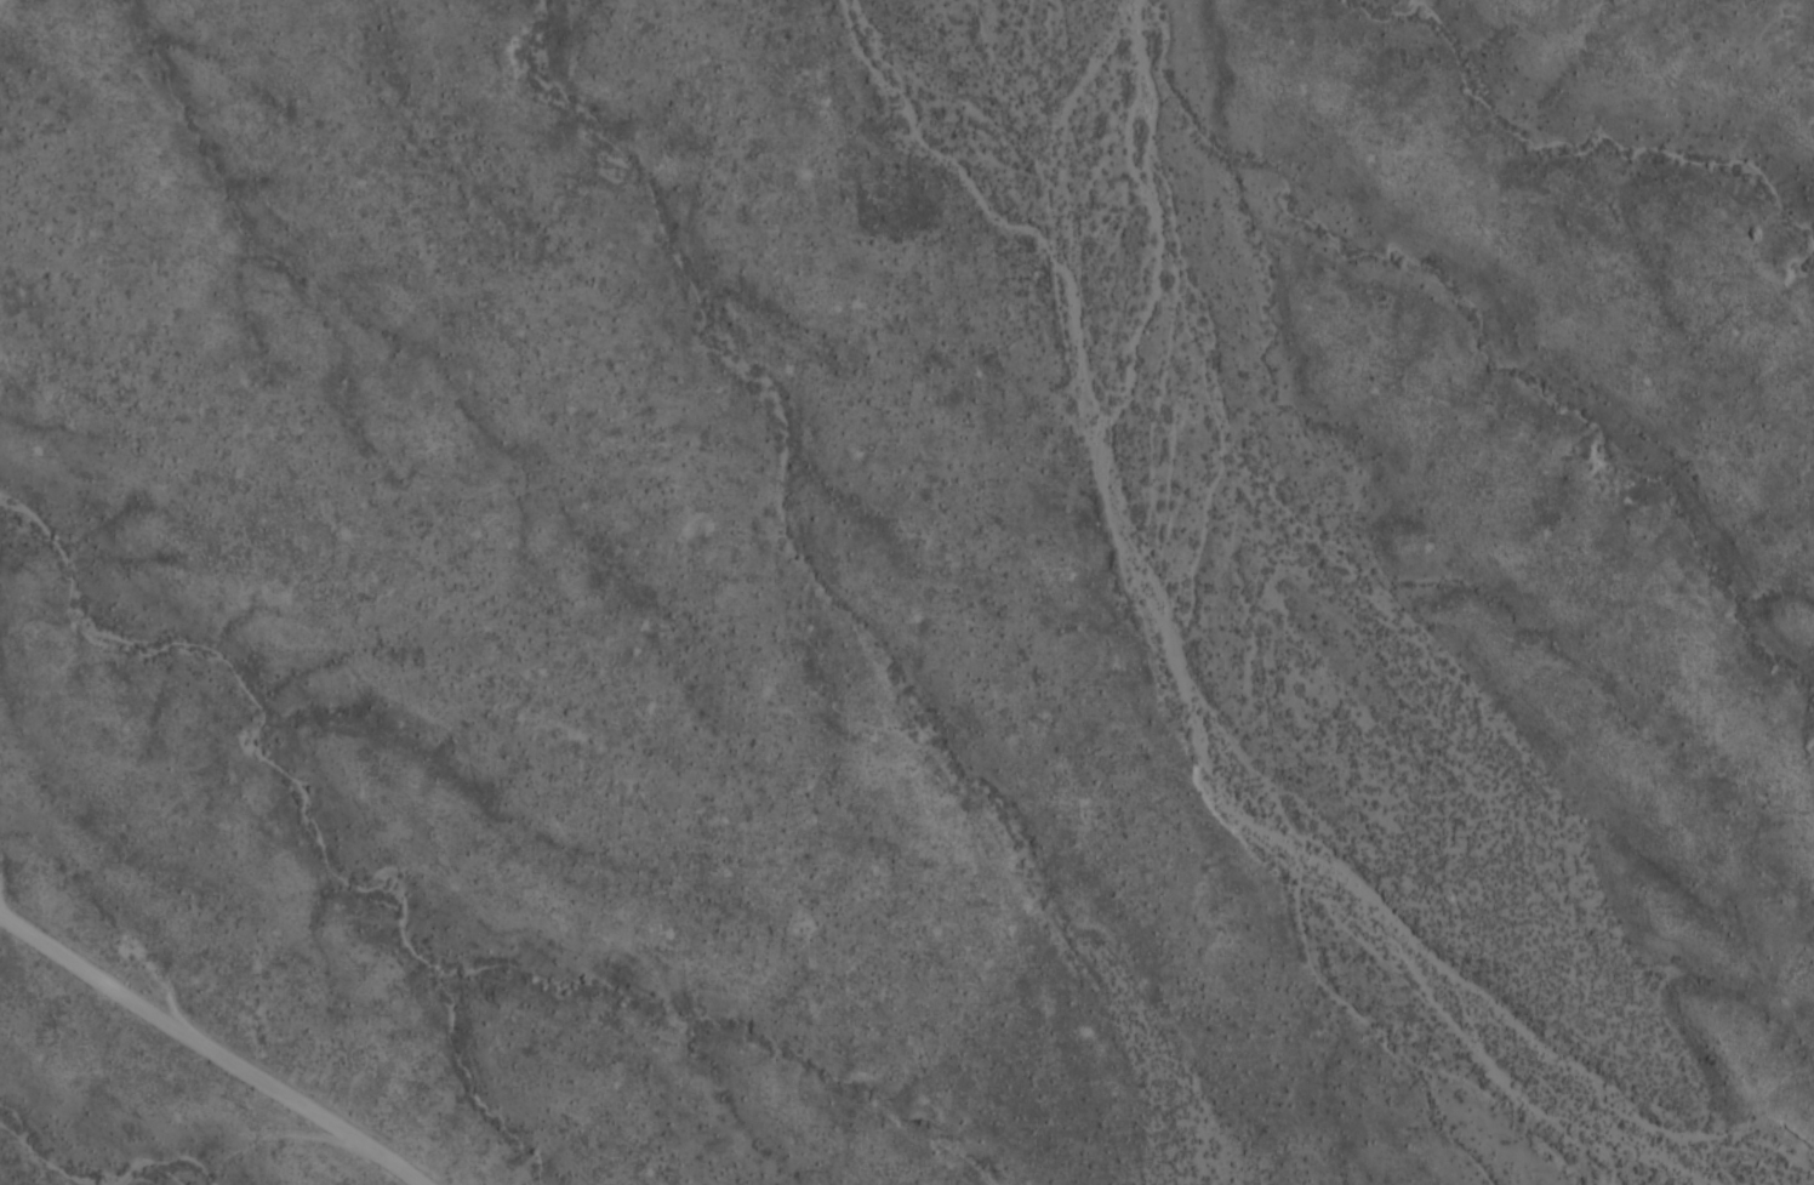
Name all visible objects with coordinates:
road: (247, 1055)

